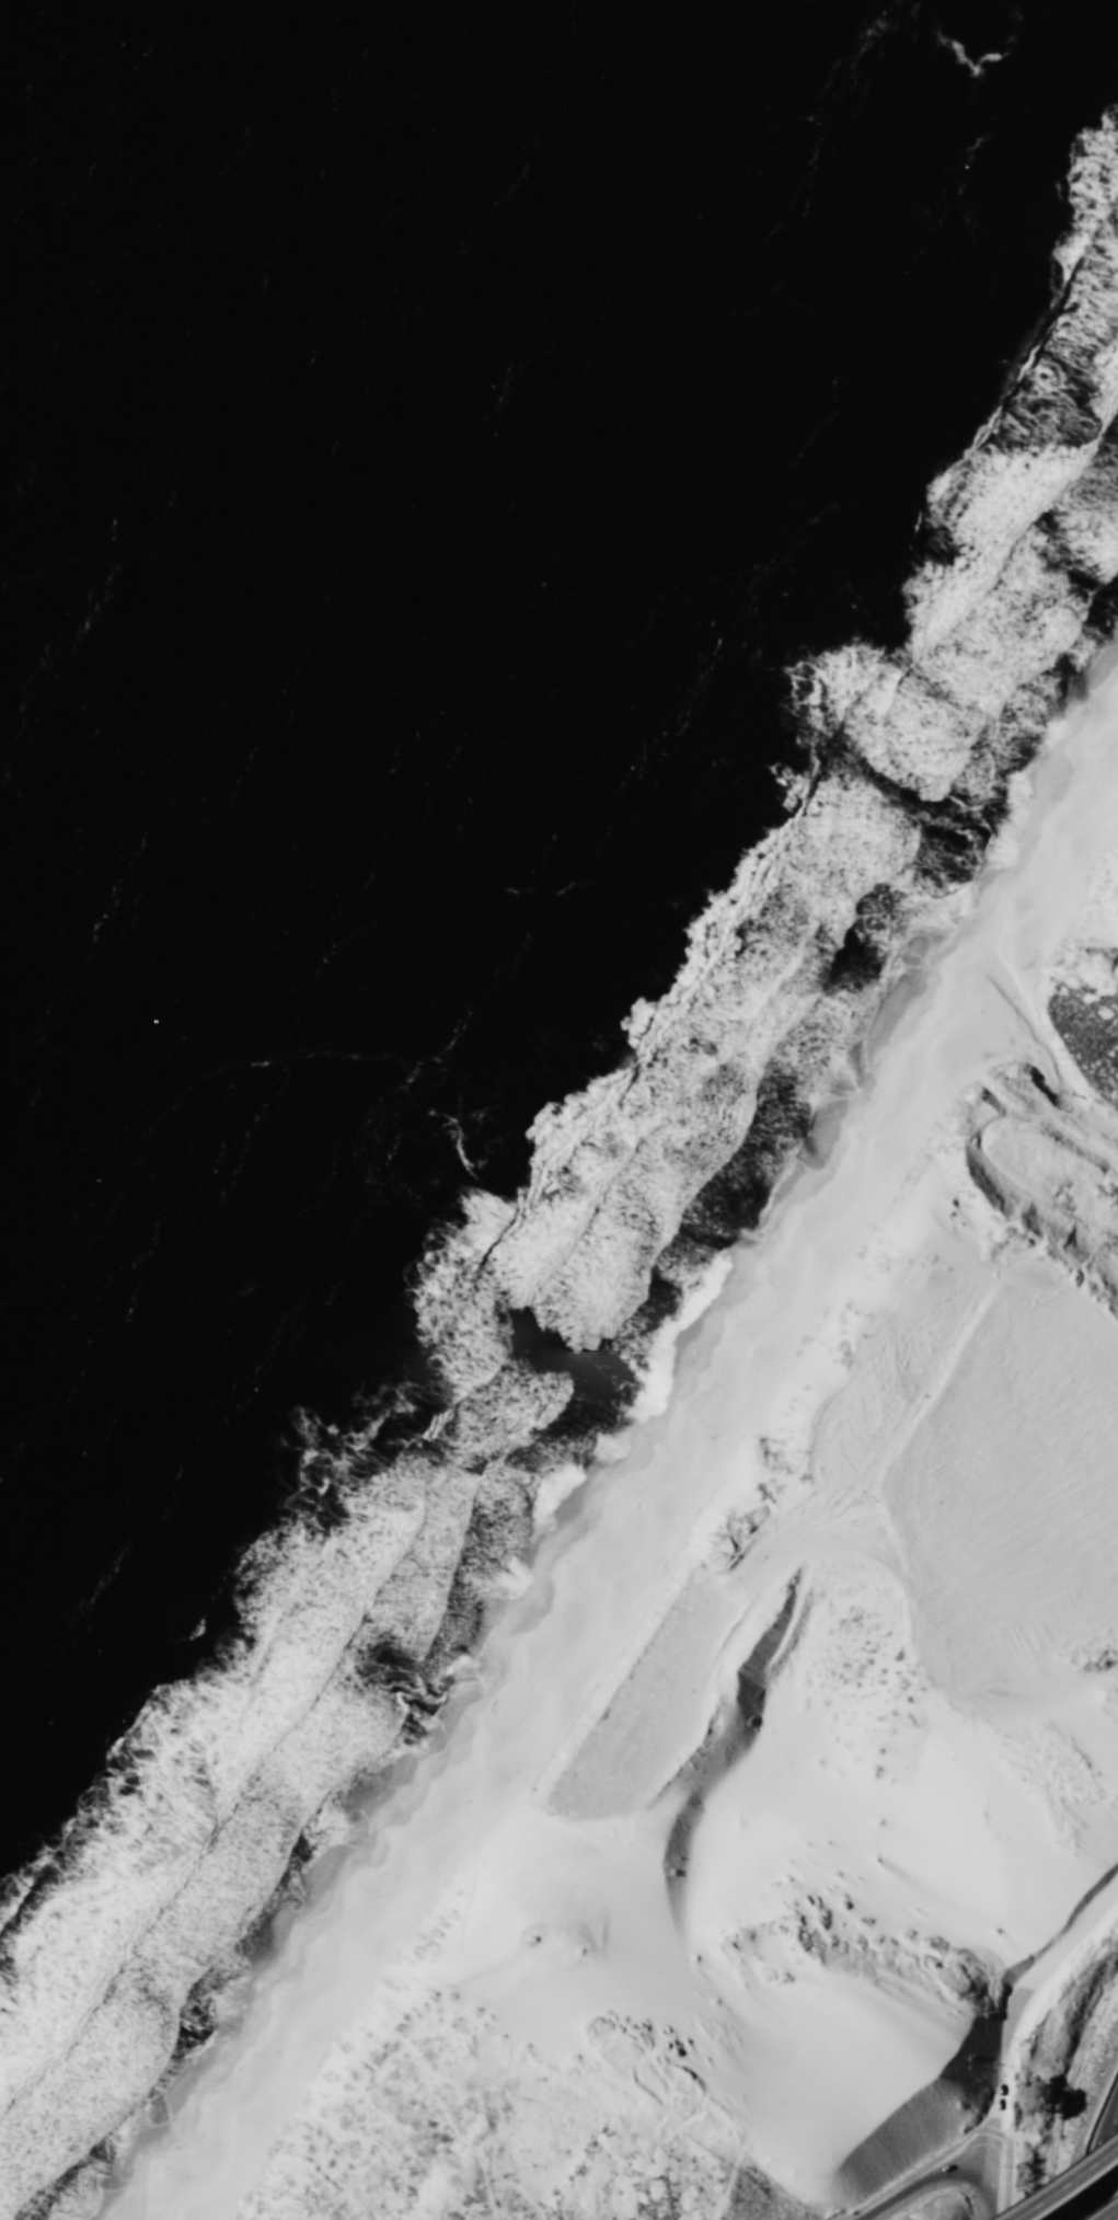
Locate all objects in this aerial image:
road: (1044, 1970)
railway: (1075, 2057)
road: (995, 2123)
road: (1088, 2138)
road: (953, 2144)
road: (1100, 2160)
road: (924, 2184)
railway: (1045, 2184)
road: (1064, 2185)
road: (987, 2199)
road: (1109, 2213)

